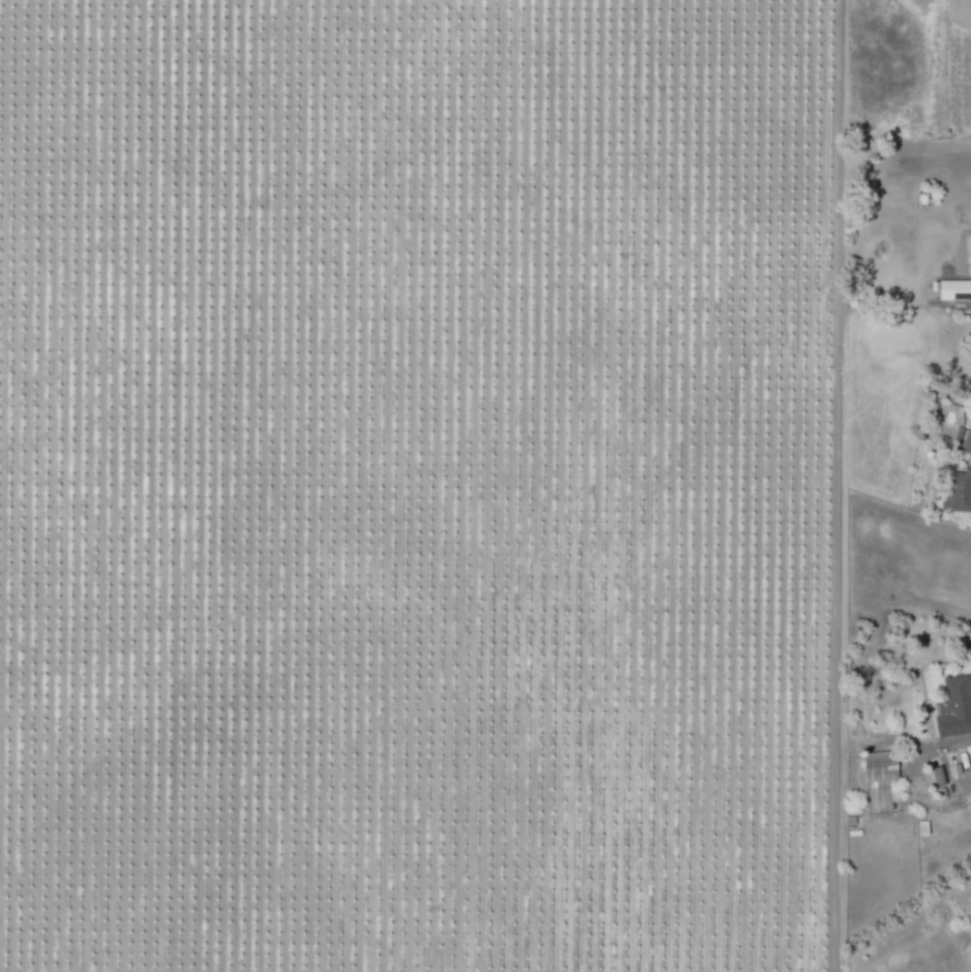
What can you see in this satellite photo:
building: (953, 290)
building: (966, 444)
building: (957, 492)
building: (952, 708)
building: (875, 767)
building: (937, 777)

